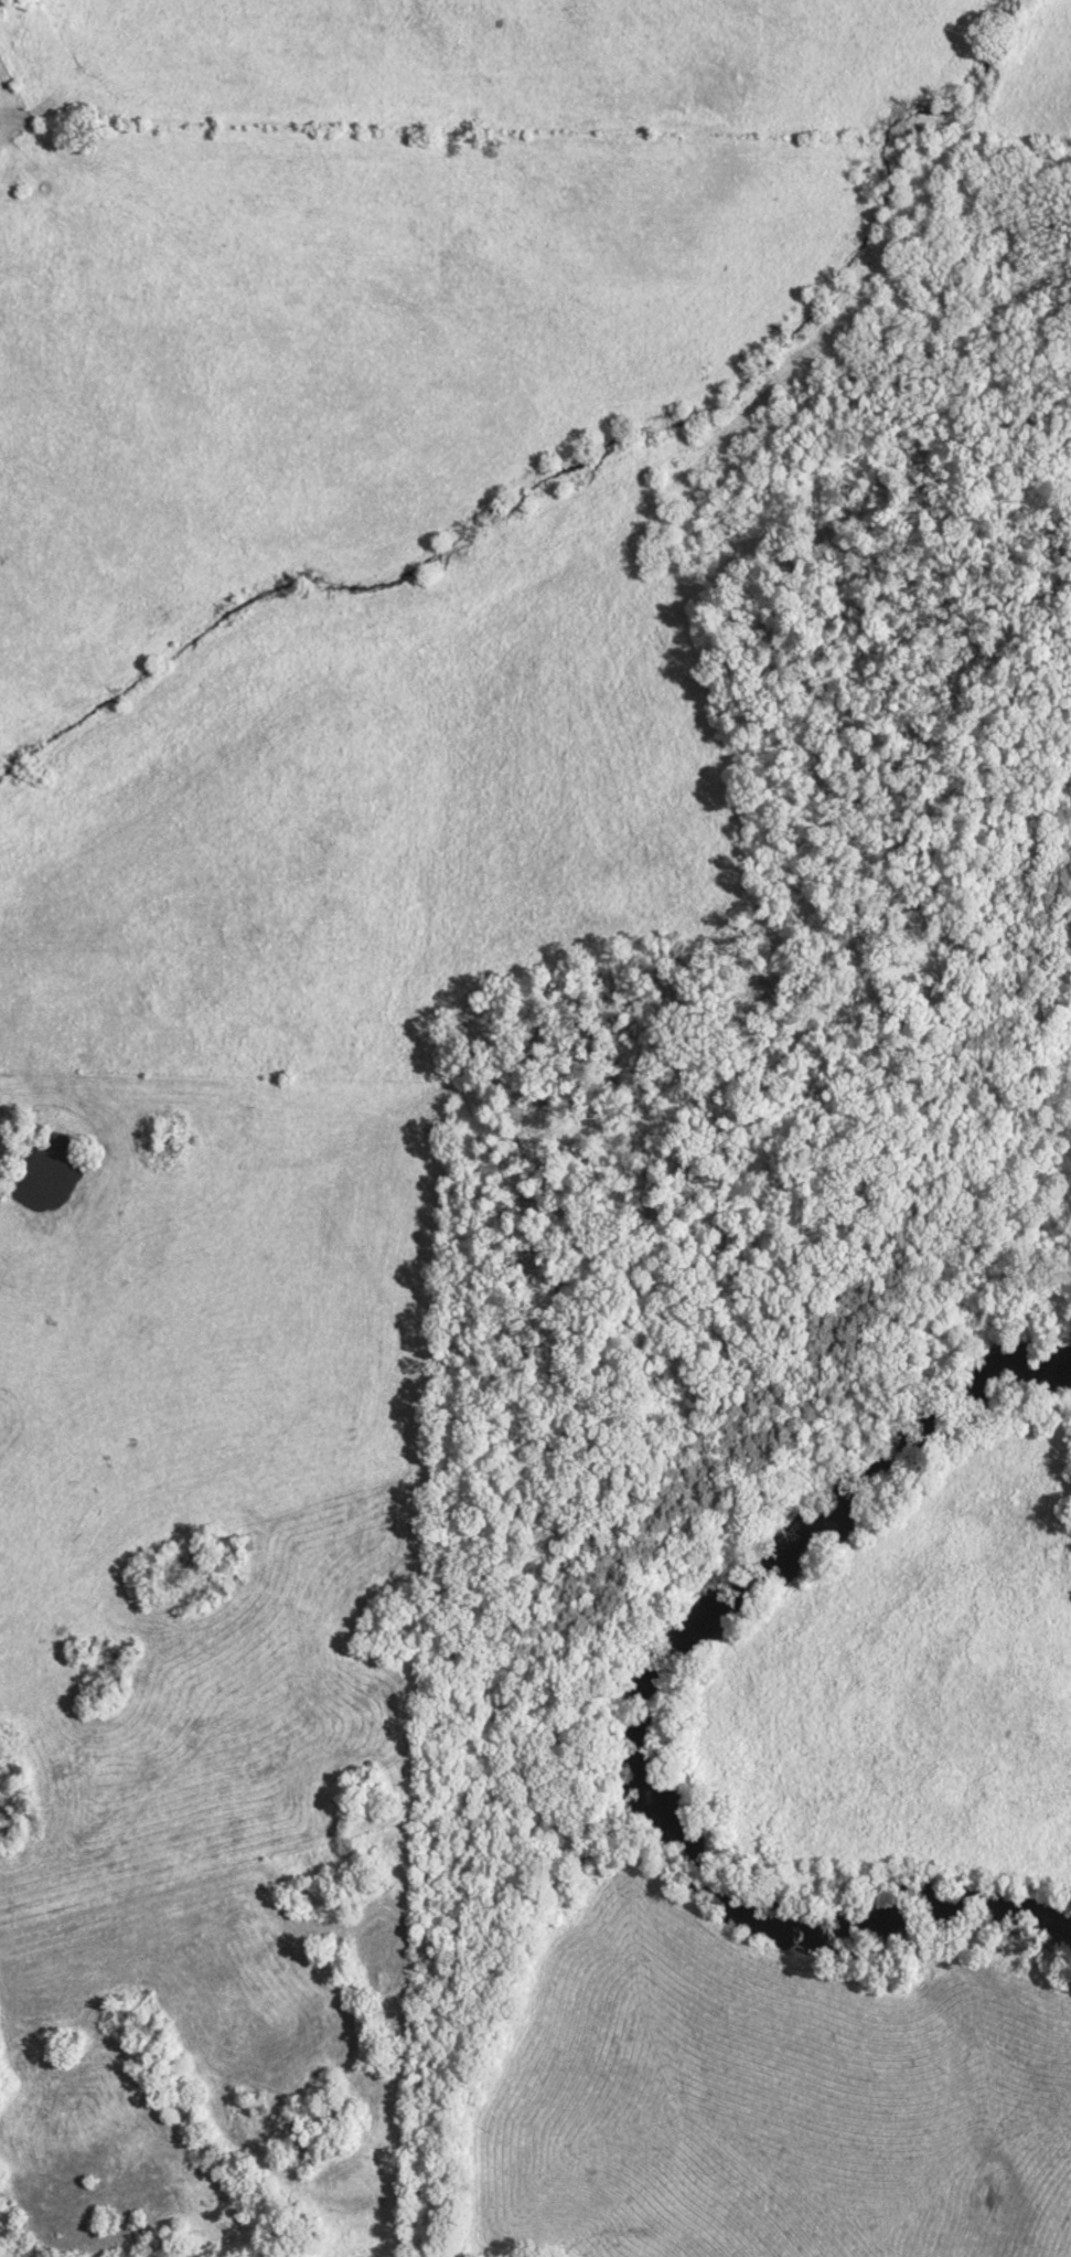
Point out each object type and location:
river: (638, 1705)

